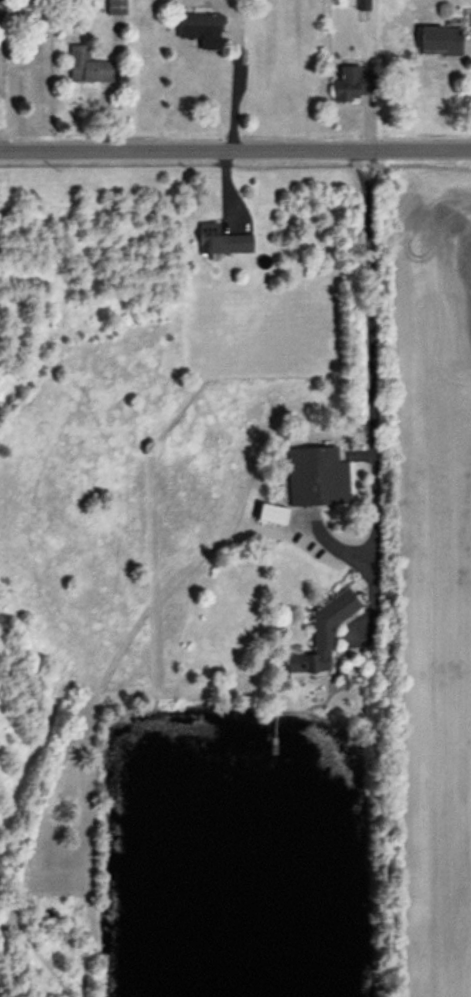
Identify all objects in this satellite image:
building: (363, 5)
building: (115, 7)
building: (1, 13)
building: (200, 29)
building: (439, 43)
building: (87, 67)
building: (352, 86)
road: (230, 91)
road: (235, 152)
building: (222, 241)
road: (371, 392)
building: (316, 477)
building: (322, 635)

